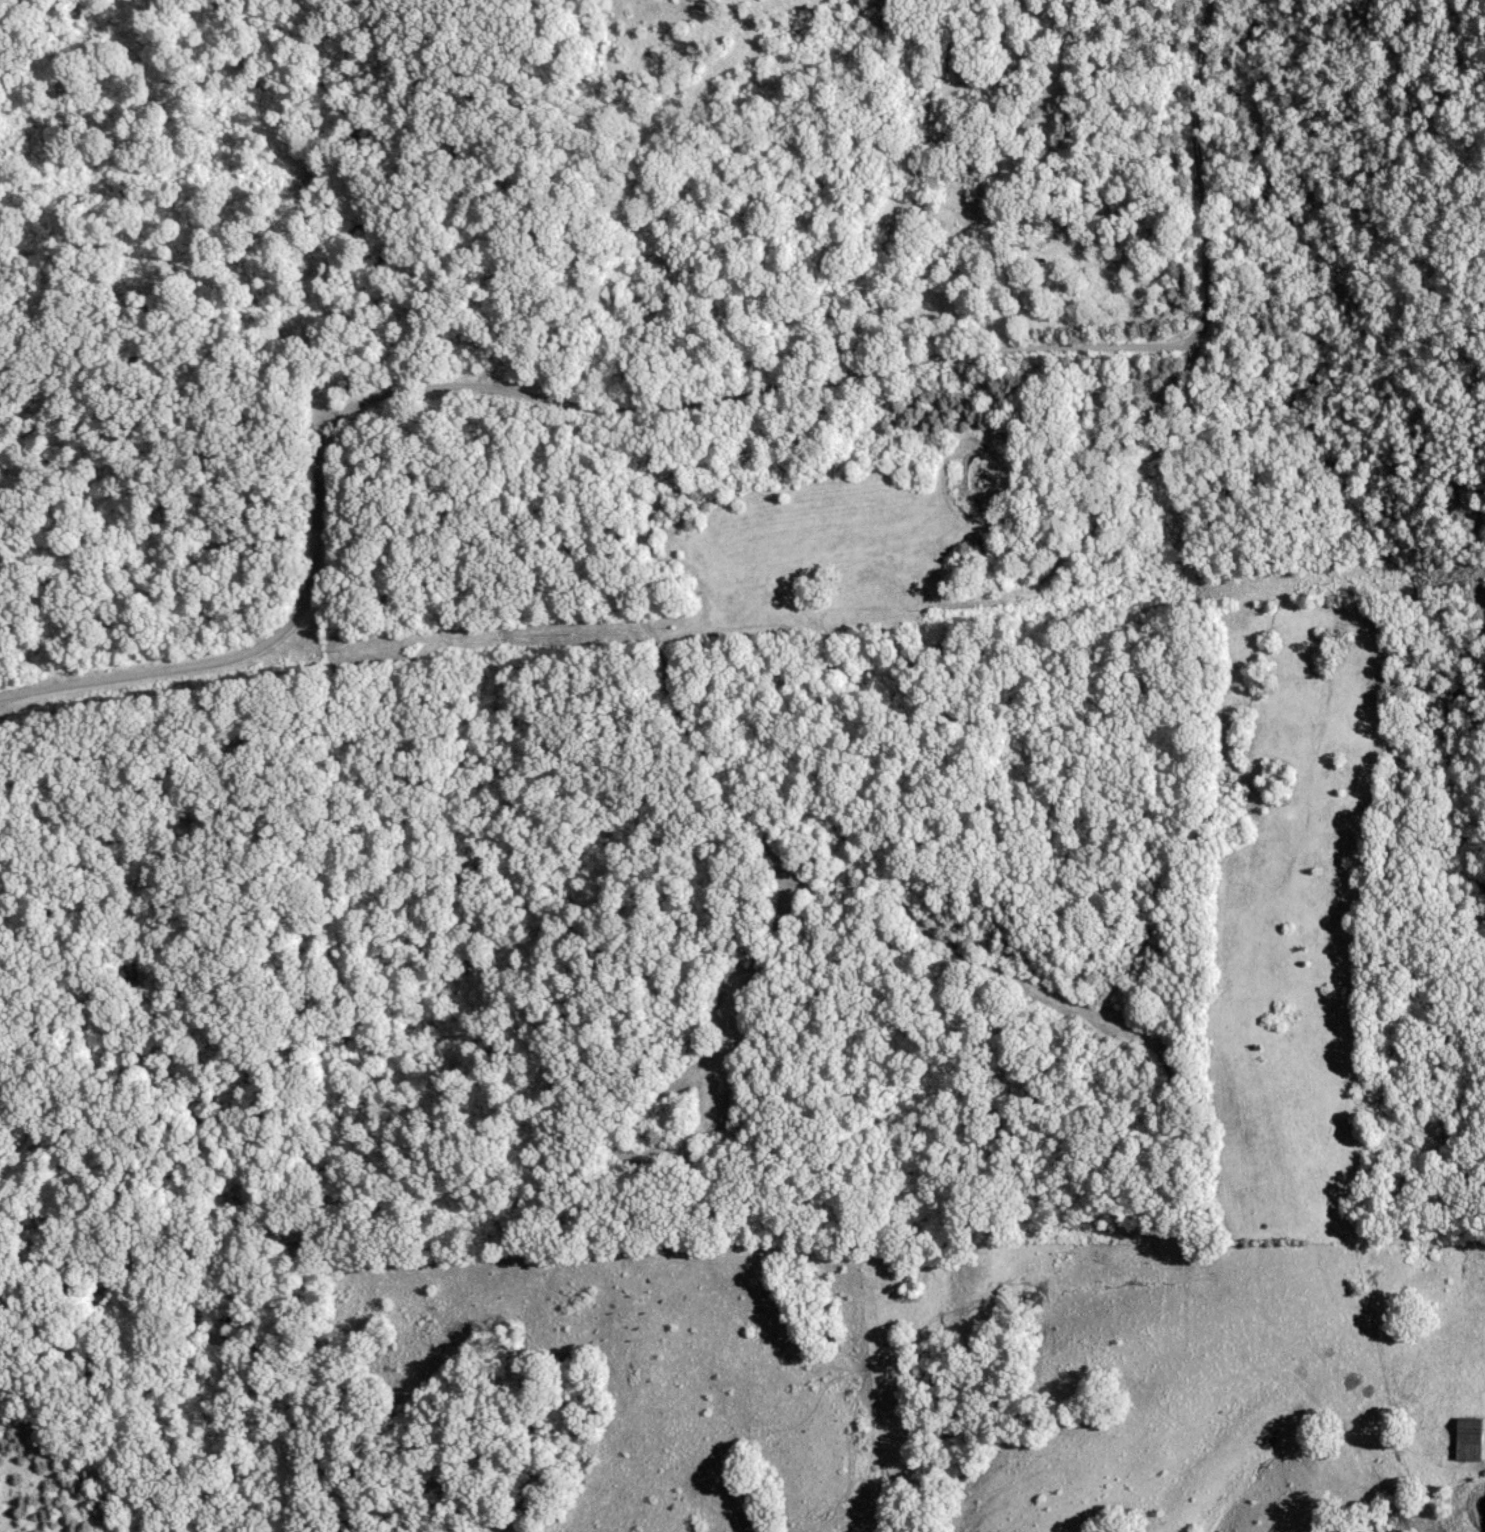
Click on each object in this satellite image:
road: (961, 355)
road: (283, 628)
building: (1471, 1439)

